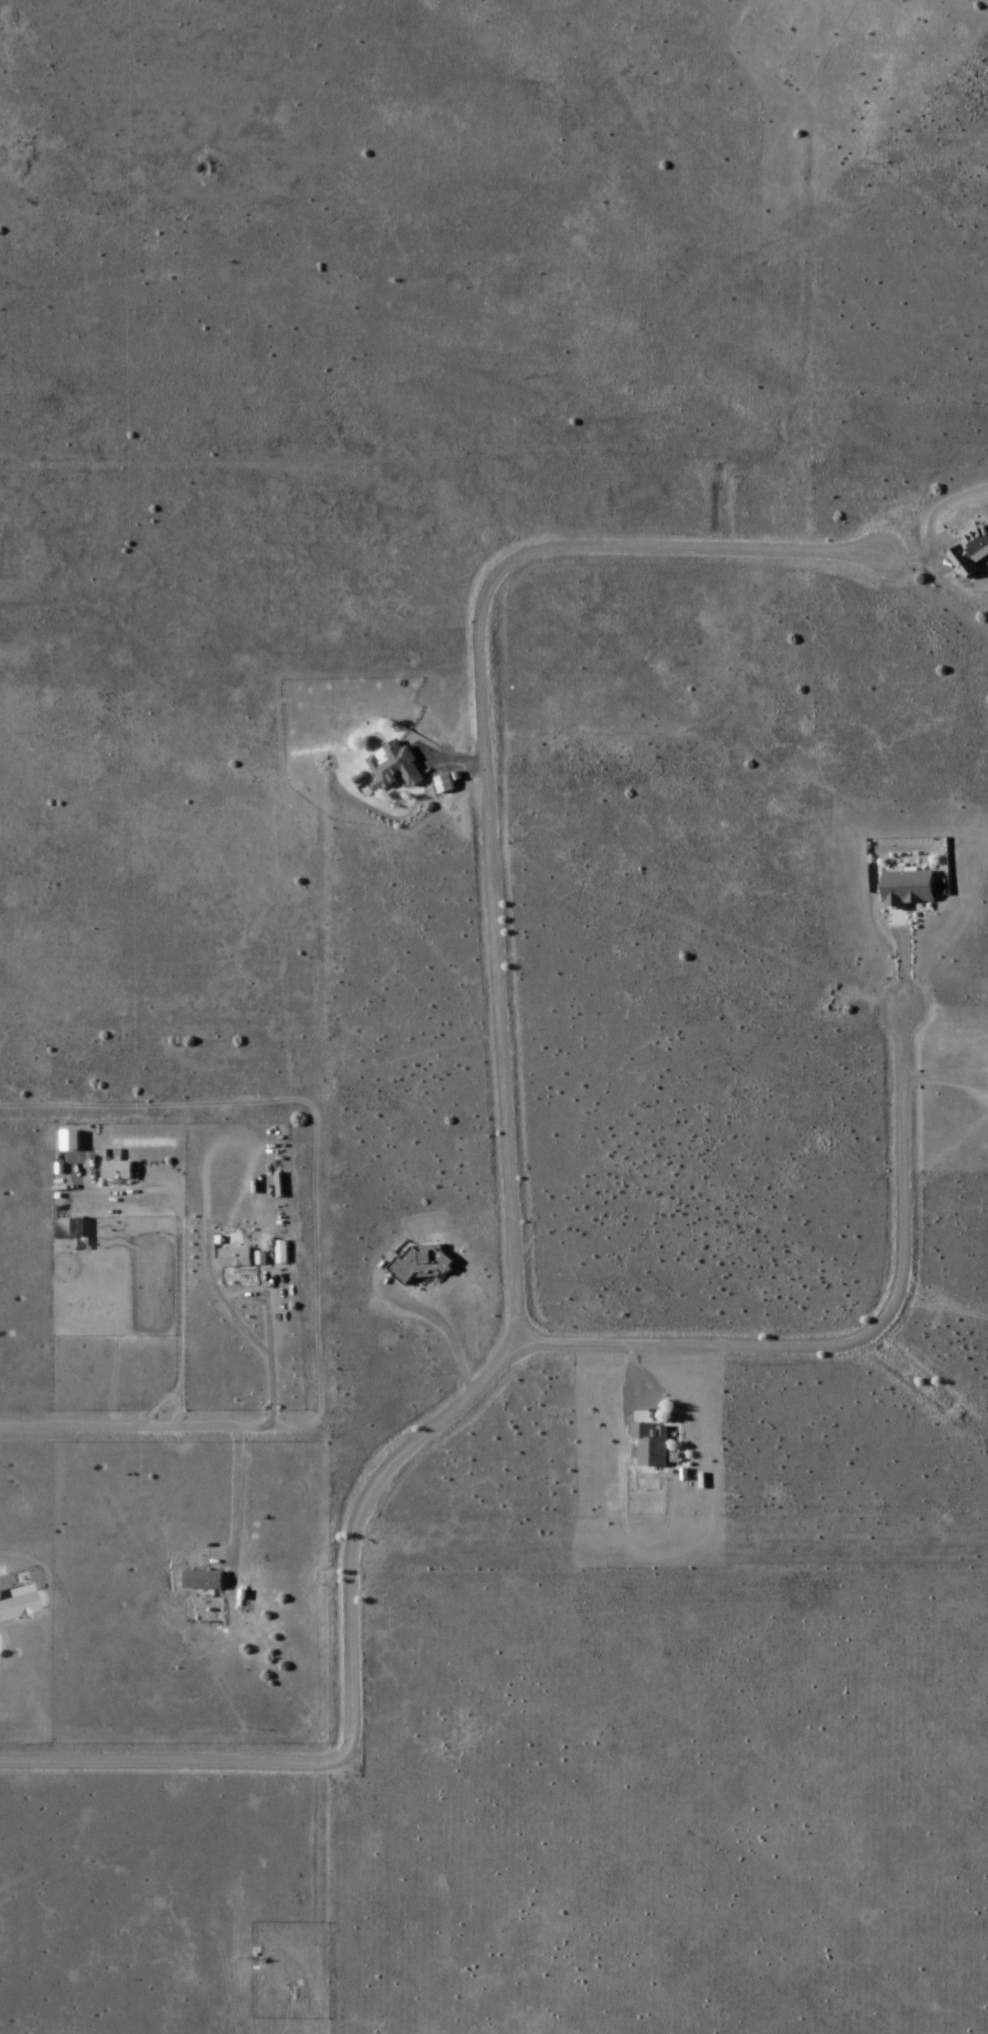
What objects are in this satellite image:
building: (970, 552)
building: (394, 770)
building: (906, 890)
road: (910, 966)
road: (510, 1171)
building: (116, 1172)
building: (72, 1230)
building: (235, 1258)
building: (422, 1264)
road: (853, 1342)
road: (156, 1430)
building: (651, 1444)
building: (17, 1608)

